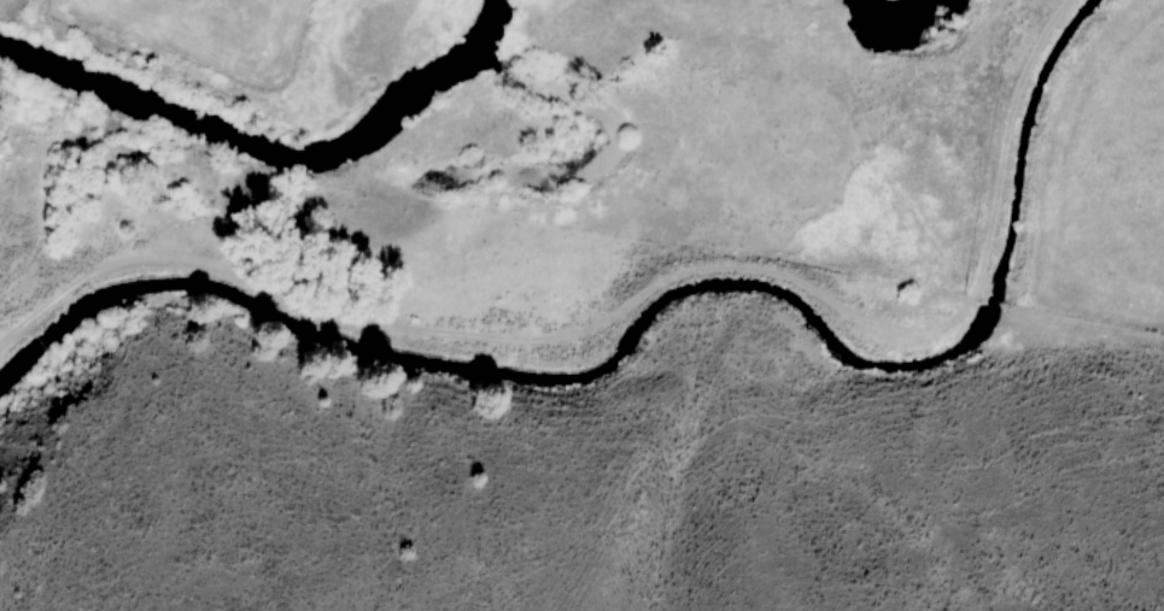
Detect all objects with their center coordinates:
river: (901, 24)
river: (270, 151)

